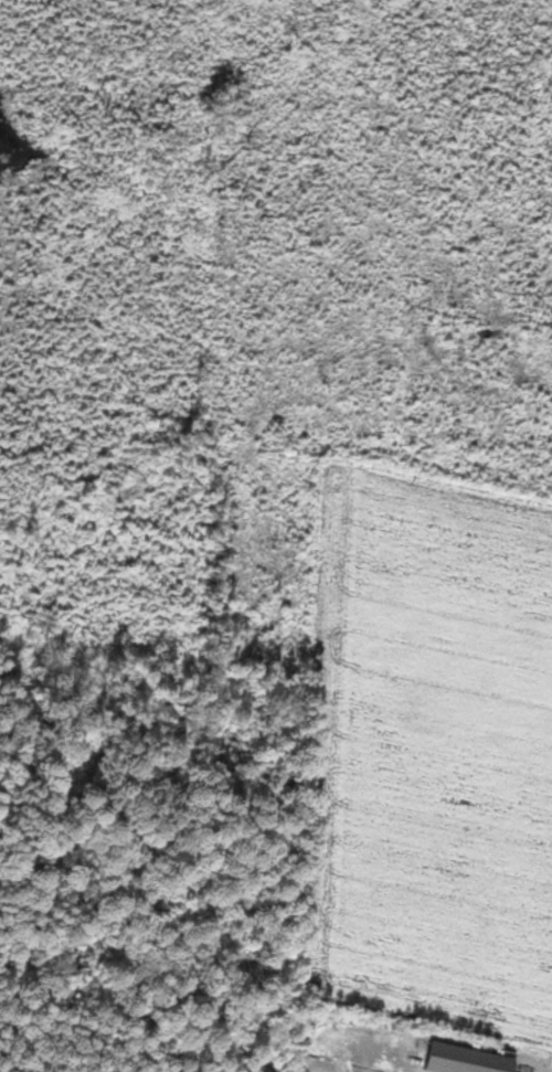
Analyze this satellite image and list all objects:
building: (469, 1060)

